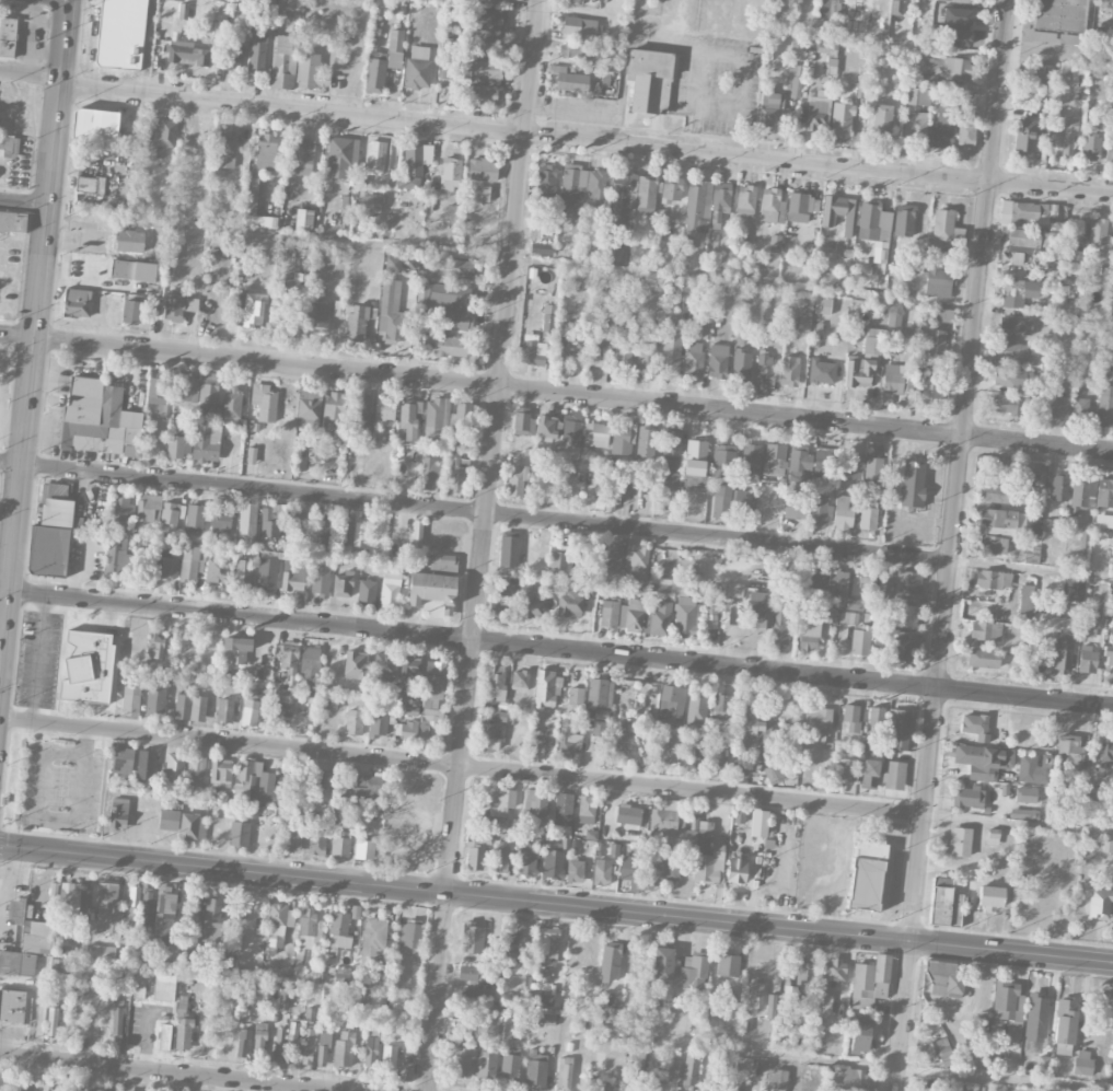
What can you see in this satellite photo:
building: (175, 0)
building: (868, 0)
building: (957, 0)
building: (1105, 1)
building: (265, 4)
building: (290, 5)
building: (826, 8)
road: (536, 9)
building: (183, 10)
building: (897, 11)
building: (1059, 15)
building: (957, 16)
building: (488, 19)
building: (579, 27)
building: (121, 34)
building: (954, 36)
building: (1037, 36)
building: (8, 38)
building: (490, 43)
building: (449, 46)
building: (257, 49)
building: (573, 49)
road: (941, 49)
road: (698, 50)
building: (187, 54)
building: (232, 55)
building: (384, 61)
building: (283, 62)
building: (947, 67)
building: (471, 70)
building: (310, 72)
building: (418, 72)
road: (28, 74)
building: (1044, 77)
building: (795, 80)
building: (568, 81)
building: (649, 81)
building: (484, 95)
building: (918, 96)
building: (769, 109)
building: (818, 111)
building: (842, 119)
building: (881, 120)
building: (94, 125)
building: (914, 127)
building: (941, 129)
building: (965, 129)
building: (1024, 136)
building: (1064, 138)
building: (164, 139)
road: (584, 139)
building: (9, 147)
building: (1090, 148)
building: (225, 151)
building: (1109, 151)
building: (266, 152)
building: (303, 156)
building: (417, 156)
building: (339, 158)
building: (375, 158)
building: (482, 170)
building: (450, 174)
building: (408, 183)
building: (546, 183)
building: (90, 185)
building: (581, 187)
building: (671, 190)
road: (23, 200)
building: (745, 201)
building: (646, 202)
building: (720, 202)
building: (367, 206)
building: (697, 206)
building: (772, 207)
building: (801, 208)
building: (251, 210)
building: (1027, 211)
building: (838, 213)
building: (303, 219)
building: (12, 221)
building: (872, 221)
building: (903, 221)
building: (942, 228)
building: (1098, 233)
building: (1034, 237)
building: (129, 241)
building: (686, 243)
building: (541, 248)
building: (613, 255)
building: (1073, 262)
building: (392, 265)
building: (451, 269)
building: (134, 270)
building: (937, 281)
building: (292, 282)
building: (1015, 293)
building: (77, 303)
building: (190, 304)
building: (452, 304)
building: (822, 305)
building: (208, 307)
building: (173, 309)
building: (250, 310)
building: (131, 312)
building: (391, 313)
building: (941, 315)
building: (894, 316)
building: (317, 317)
building: (356, 322)
building: (548, 322)
road: (33, 332)
building: (935, 341)
building: (567, 345)
building: (450, 346)
building: (873, 346)
building: (598, 349)
building: (671, 349)
building: (1016, 351)
building: (532, 352)
building: (622, 352)
building: (646, 357)
building: (694, 359)
building: (718, 361)
building: (741, 365)
building: (765, 369)
building: (789, 371)
building: (822, 371)
building: (858, 372)
building: (897, 376)
building: (1016, 380)
building: (929, 388)
building: (208, 390)
building: (186, 392)
road: (556, 393)
building: (158, 395)
building: (264, 402)
building: (1005, 404)
building: (231, 406)
building: (334, 406)
building: (1058, 406)
building: (1105, 406)
building: (309, 407)
building: (384, 409)
building: (1079, 409)
building: (361, 410)
building: (436, 418)
building: (461, 418)
building: (98, 419)
building: (408, 420)
building: (523, 421)
building: (546, 426)
building: (185, 428)
building: (570, 436)
building: (595, 436)
building: (621, 440)
building: (206, 442)
building: (645, 443)
building: (175, 446)
building: (671, 451)
building: (695, 457)
building: (721, 459)
building: (774, 461)
building: (750, 463)
building: (798, 463)
building: (822, 463)
building: (849, 466)
building: (872, 468)
building: (1001, 471)
building: (429, 473)
building: (455, 475)
building: (1027, 475)
building: (671, 479)
building: (517, 480)
building: (694, 481)
building: (912, 484)
building: (568, 485)
building: (1059, 488)
building: (56, 490)
building: (998, 494)
building: (1104, 494)
building: (1078, 495)
building: (613, 496)
building: (721, 500)
building: (744, 501)
building: (793, 506)
building: (120, 509)
building: (147, 511)
road: (474, 512)
building: (819, 512)
building: (842, 514)
building: (868, 515)
building: (171, 517)
building: (195, 520)
building: (220, 521)
building: (270, 521)
building: (1103, 521)
building: (247, 523)
building: (1004, 523)
building: (295, 525)
building: (416, 529)
building: (324, 531)
building: (351, 534)
building: (51, 537)
building: (1083, 538)
road: (480, 545)
road: (950, 545)
building: (993, 545)
building: (508, 550)
building: (117, 557)
building: (612, 559)
building: (635, 560)
building: (166, 564)
building: (192, 564)
building: (443, 565)
building: (557, 566)
road: (1031, 569)
building: (218, 570)
building: (242, 574)
building: (266, 574)
building: (292, 574)
building: (816, 577)
building: (320, 578)
building: (867, 578)
building: (988, 580)
building: (837, 582)
building: (908, 582)
building: (343, 584)
building: (668, 587)
building: (390, 590)
building: (432, 590)
building: (733, 590)
building: (1073, 590)
building: (366, 591)
building: (506, 596)
building: (569, 601)
building: (531, 604)
building: (1024, 604)
building: (758, 610)
building: (608, 614)
building: (630, 614)
building: (905, 616)
building: (686, 617)
building: (846, 618)
building: (660, 619)
building: (1097, 619)
building: (779, 626)
building: (985, 631)
building: (809, 634)
building: (859, 642)
building: (154, 643)
road: (556, 647)
building: (900, 649)
building: (235, 652)
building: (1063, 654)
building: (289, 657)
building: (1108, 657)
road: (39, 658)
building: (983, 659)
building: (1087, 659)
building: (309, 663)
building: (355, 665)
building: (88, 668)
building: (384, 669)
building: (409, 669)
building: (520, 680)
building: (495, 682)
building: (546, 688)
building: (600, 693)
building: (576, 696)
building: (155, 699)
building: (430, 700)
building: (130, 701)
building: (328, 701)
building: (672, 701)
building: (281, 703)
building: (721, 705)
building: (190, 708)
building: (409, 710)
building: (224, 711)
building: (497, 711)
building: (250, 712)
building: (696, 712)
building: (601, 715)
building: (851, 718)
building: (876, 718)
building: (818, 719)
building: (353, 722)
building: (378, 723)
building: (750, 726)
building: (975, 727)
building: (598, 729)
building: (405, 730)
building: (896, 730)
building: (489, 735)
building: (568, 740)
building: (537, 745)
building: (649, 746)
building: (668, 748)
building: (1069, 752)
building: (1106, 752)
building: (716, 761)
building: (983, 761)
building: (121, 762)
building: (144, 765)
building: (174, 767)
road: (461, 767)
building: (196, 768)
building: (1033, 768)
building: (220, 773)
building: (844, 773)
building: (774, 774)
building: (870, 774)
building: (245, 776)
building: (894, 776)
building: (326, 781)
building: (363, 789)
building: (1097, 794)
building: (1025, 796)
building: (265, 797)
building: (967, 798)
building: (500, 801)
building: (535, 808)
building: (563, 810)
building: (586, 810)
building: (118, 813)
building: (1022, 814)
building: (628, 815)
building: (739, 815)
building: (169, 820)
building: (758, 823)
road: (1018, 824)
building: (669, 826)
building: (192, 827)
building: (239, 834)
building: (992, 836)
building: (704, 837)
building: (292, 838)
building: (317, 842)
building: (959, 842)
building: (340, 845)
building: (364, 849)
building: (476, 849)
building: (500, 857)
building: (526, 860)
building: (553, 861)
building: (707, 867)
building: (629, 869)
building: (660, 870)
building: (575, 871)
building: (737, 871)
building: (602, 872)
building: (866, 875)
building: (989, 897)
building: (944, 904)
building: (1099, 904)
road: (556, 905)
building: (70, 907)
building: (194, 907)
building: (107, 908)
building: (140, 910)
building: (16, 912)
building: (239, 912)
building: (212, 914)
building: (280, 916)
building: (163, 919)
building: (341, 927)
building: (309, 930)
building: (37, 937)
building: (407, 939)
building: (472, 939)
building: (373, 942)
building: (518, 945)
building: (547, 945)
building: (190, 949)
building: (100, 954)
building: (16, 964)
building: (610, 964)
building: (662, 964)
building: (728, 965)
building: (804, 971)
building: (833, 971)
building: (468, 973)
building: (693, 973)
building: (542, 976)
road: (20, 980)
building: (943, 980)
building: (870, 983)
building: (266, 991)
building: (473, 994)
building: (754, 996)
building: (789, 996)
building: (726, 998)
building: (543, 1000)
building: (361, 1001)
building: (282, 1002)
building: (826, 1002)
building: (404, 1003)
building: (182, 1006)
building: (12, 1007)
building: (770, 1007)
building: (1008, 1008)
building: (521, 1014)
building: (612, 1015)
building: (1035, 1018)
building: (117, 1021)
building: (51, 1022)
road: (36, 1023)
building: (1064, 1026)
building: (978, 1030)
building: (293, 1032)
building: (183, 1033)
building: (859, 1035)
building: (279, 1037)
building: (258, 1041)
building: (309, 1046)
building: (242, 1048)
building: (323, 1049)
building: (344, 1051)
building: (370, 1052)
building: (937, 1052)
road: (773, 1054)
building: (637, 1056)
building: (389, 1057)
building: (461, 1059)
building: (510, 1061)
building: (485, 1063)
building: (1082, 1063)
building: (1042, 1065)
building: (673, 1066)
building: (535, 1068)
building: (689, 1070)
building: (405, 1071)
road: (171, 1072)
building: (564, 1073)
building: (847, 1078)
building: (2, 1080)
building: (739, 1087)
building: (23, 1089)
building: (69, 1090)
building: (96, 1090)
building: (125, 1090)

